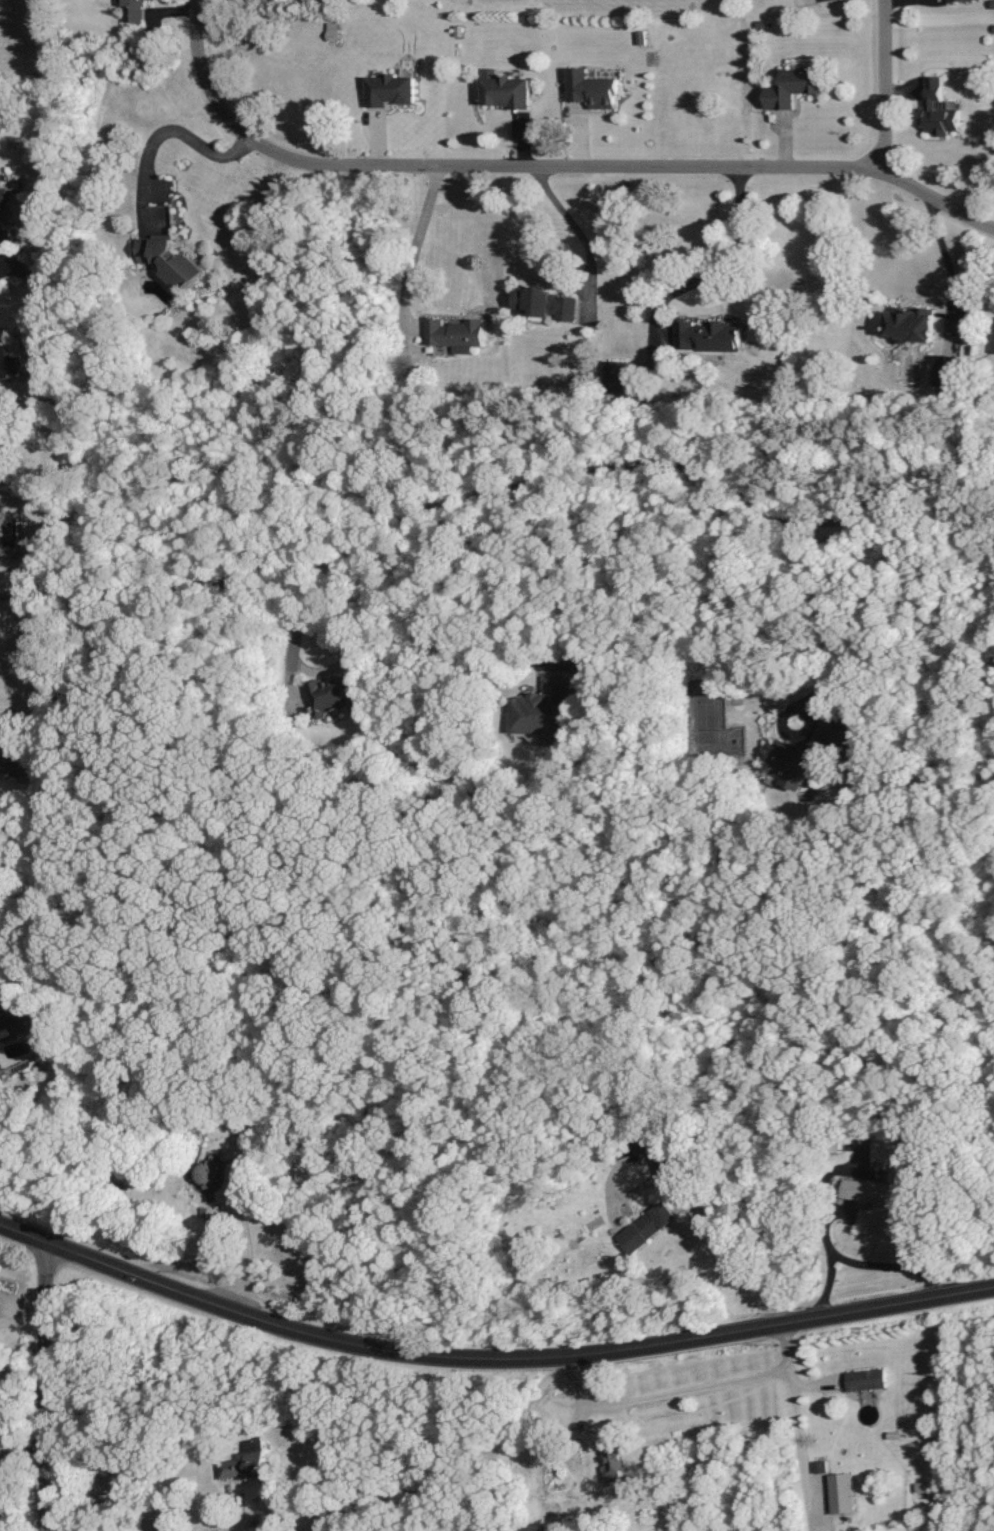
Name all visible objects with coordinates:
building: (956, 0)
building: (134, 11)
building: (332, 31)
road: (193, 35)
road: (880, 86)
building: (795, 88)
building: (594, 89)
building: (390, 91)
building: (506, 91)
building: (939, 110)
road: (158, 153)
road: (579, 173)
building: (4, 196)
building: (0, 220)
road: (576, 244)
road: (407, 258)
building: (170, 260)
road: (947, 260)
road: (696, 267)
building: (549, 304)
building: (914, 325)
building: (455, 335)
building: (709, 336)
building: (993, 349)
building: (8, 360)
building: (947, 372)
building: (620, 377)
road: (502, 505)
road: (543, 528)
road: (832, 651)
road: (519, 676)
building: (334, 694)
building: (543, 711)
building: (15, 756)
building: (808, 756)
building: (16, 1007)
building: (243, 1147)
building: (662, 1155)
building: (648, 1227)
building: (285, 1228)
road: (251, 1235)
road: (829, 1242)
building: (0, 1286)
road: (489, 1352)
road: (770, 1375)
building: (867, 1379)
road: (48, 1382)
road: (805, 1440)
building: (613, 1460)
building: (244, 1463)
building: (820, 1466)
road: (424, 1468)
building: (843, 1493)
building: (1, 1504)
road: (215, 1512)
building: (540, 1527)

